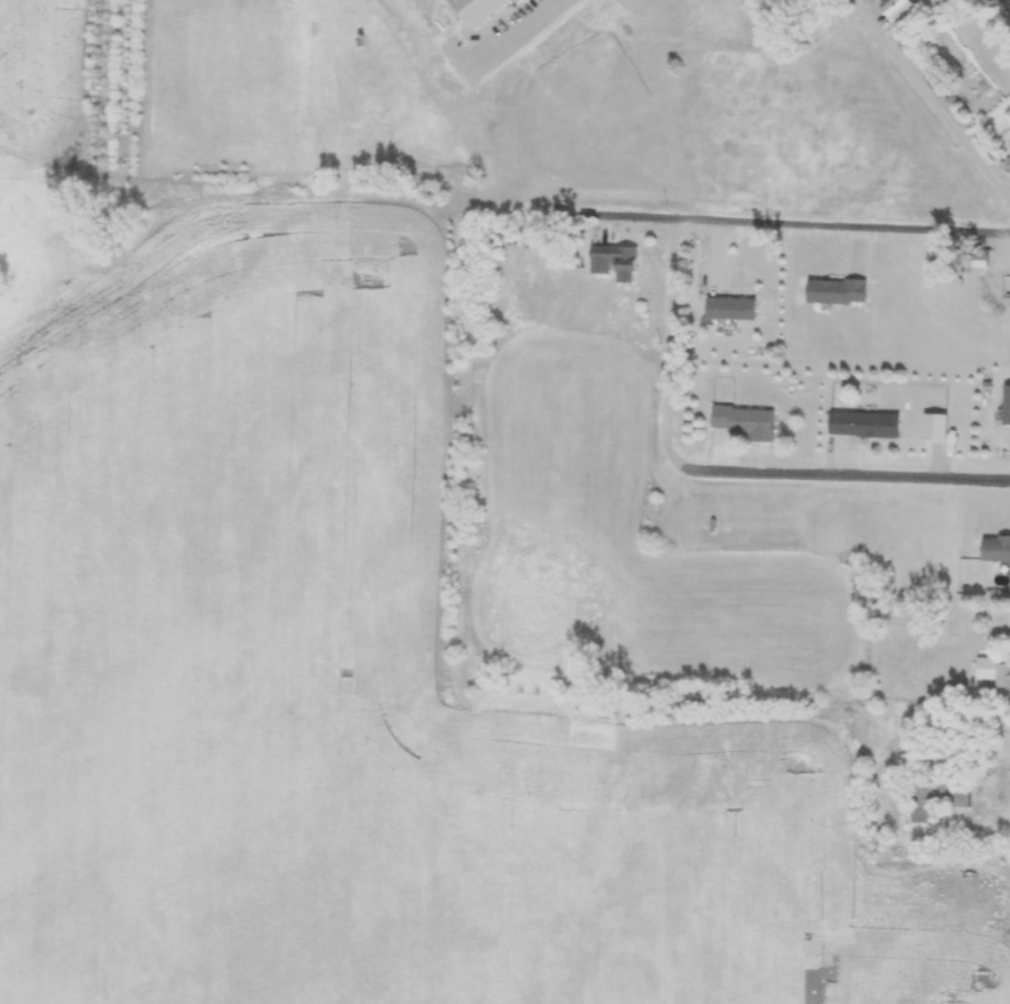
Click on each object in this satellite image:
road: (566, 38)
road: (927, 100)
road: (574, 188)
road: (796, 225)
building: (615, 263)
building: (731, 309)
road: (670, 318)
building: (1006, 406)
building: (745, 423)
building: (864, 426)
road: (815, 477)
building: (995, 550)
building: (993, 672)
building: (955, 690)
building: (937, 798)

